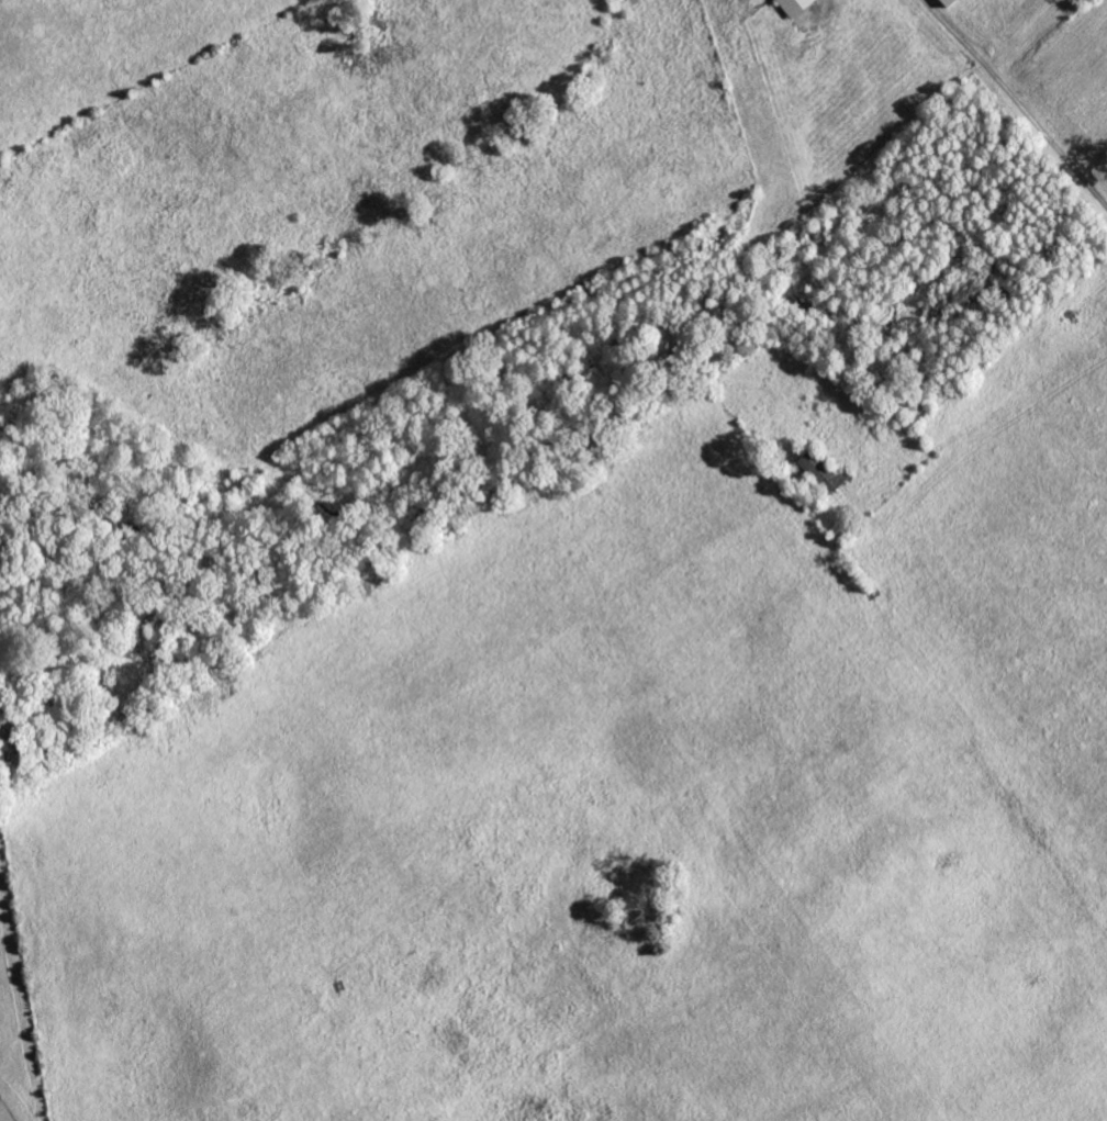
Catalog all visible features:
building: (944, 3)
building: (792, 7)

